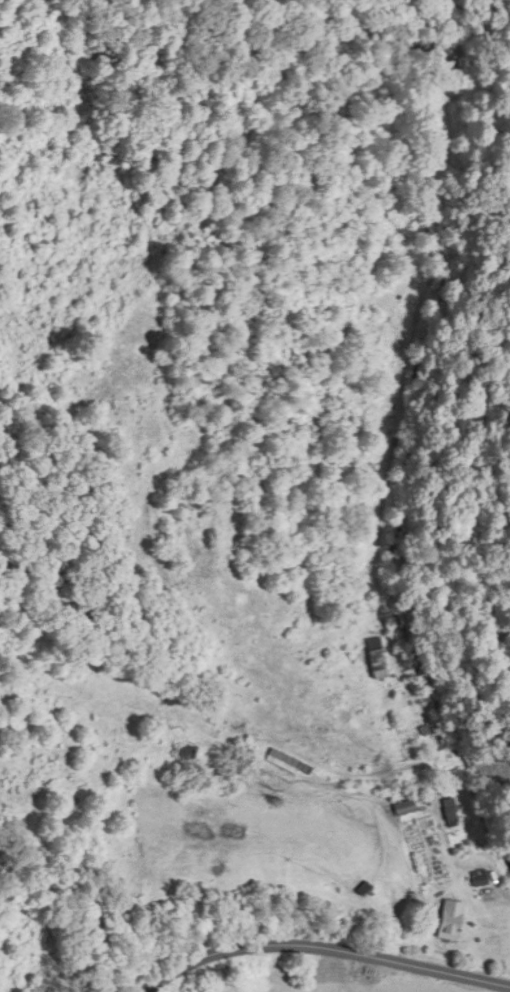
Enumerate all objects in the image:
building: (376, 656)
building: (186, 749)
building: (283, 757)
building: (404, 804)
building: (449, 809)
building: (479, 874)
building: (450, 916)
road: (325, 944)

